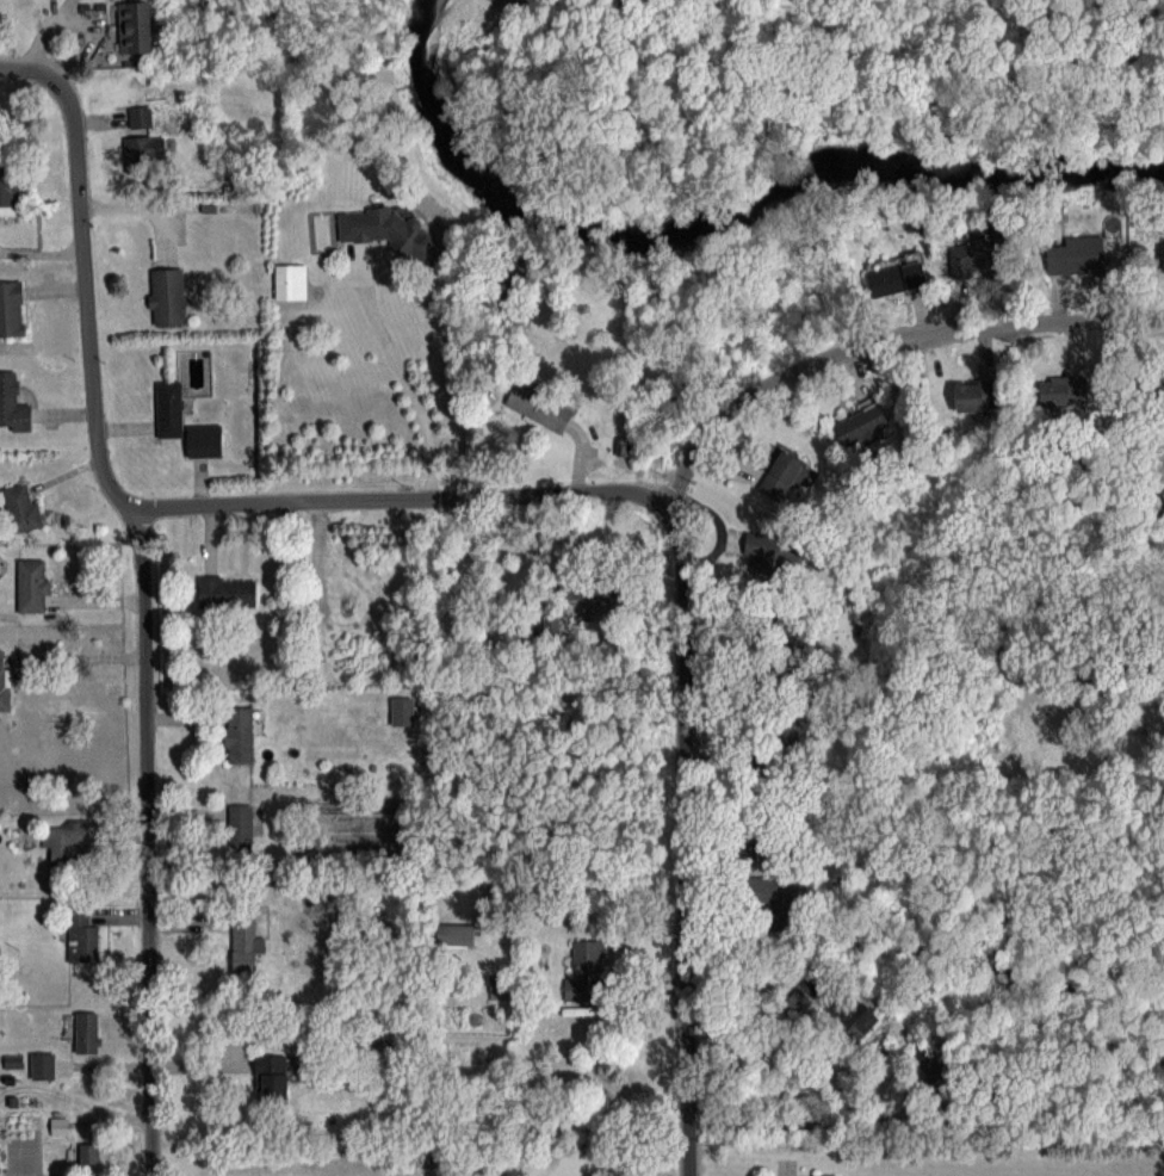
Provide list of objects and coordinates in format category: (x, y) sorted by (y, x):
road: (74, 18)
building: (135, 29)
building: (140, 117)
building: (141, 153)
building: (10, 191)
river: (707, 217)
building: (389, 233)
building: (1162, 252)
building: (1076, 256)
building: (974, 259)
road: (85, 277)
building: (897, 278)
building: (286, 281)
building: (167, 296)
building: (11, 309)
road: (880, 339)
building: (1053, 390)
road: (413, 391)
building: (973, 396)
building: (12, 403)
building: (539, 407)
building: (168, 409)
building: (861, 427)
building: (203, 440)
building: (782, 476)
road: (404, 497)
building: (20, 507)
building: (773, 558)
building: (32, 584)
building: (225, 592)
building: (788, 649)
building: (4, 679)
building: (402, 710)
building: (239, 734)
building: (240, 828)
road: (686, 840)
building: (66, 842)
road: (148, 848)
building: (769, 900)
building: (453, 933)
building: (81, 937)
building: (244, 941)
building: (586, 971)
building: (849, 1014)
building: (86, 1032)
building: (42, 1065)
building: (271, 1078)
building: (58, 1125)
building: (88, 1152)
building: (813, 1175)

